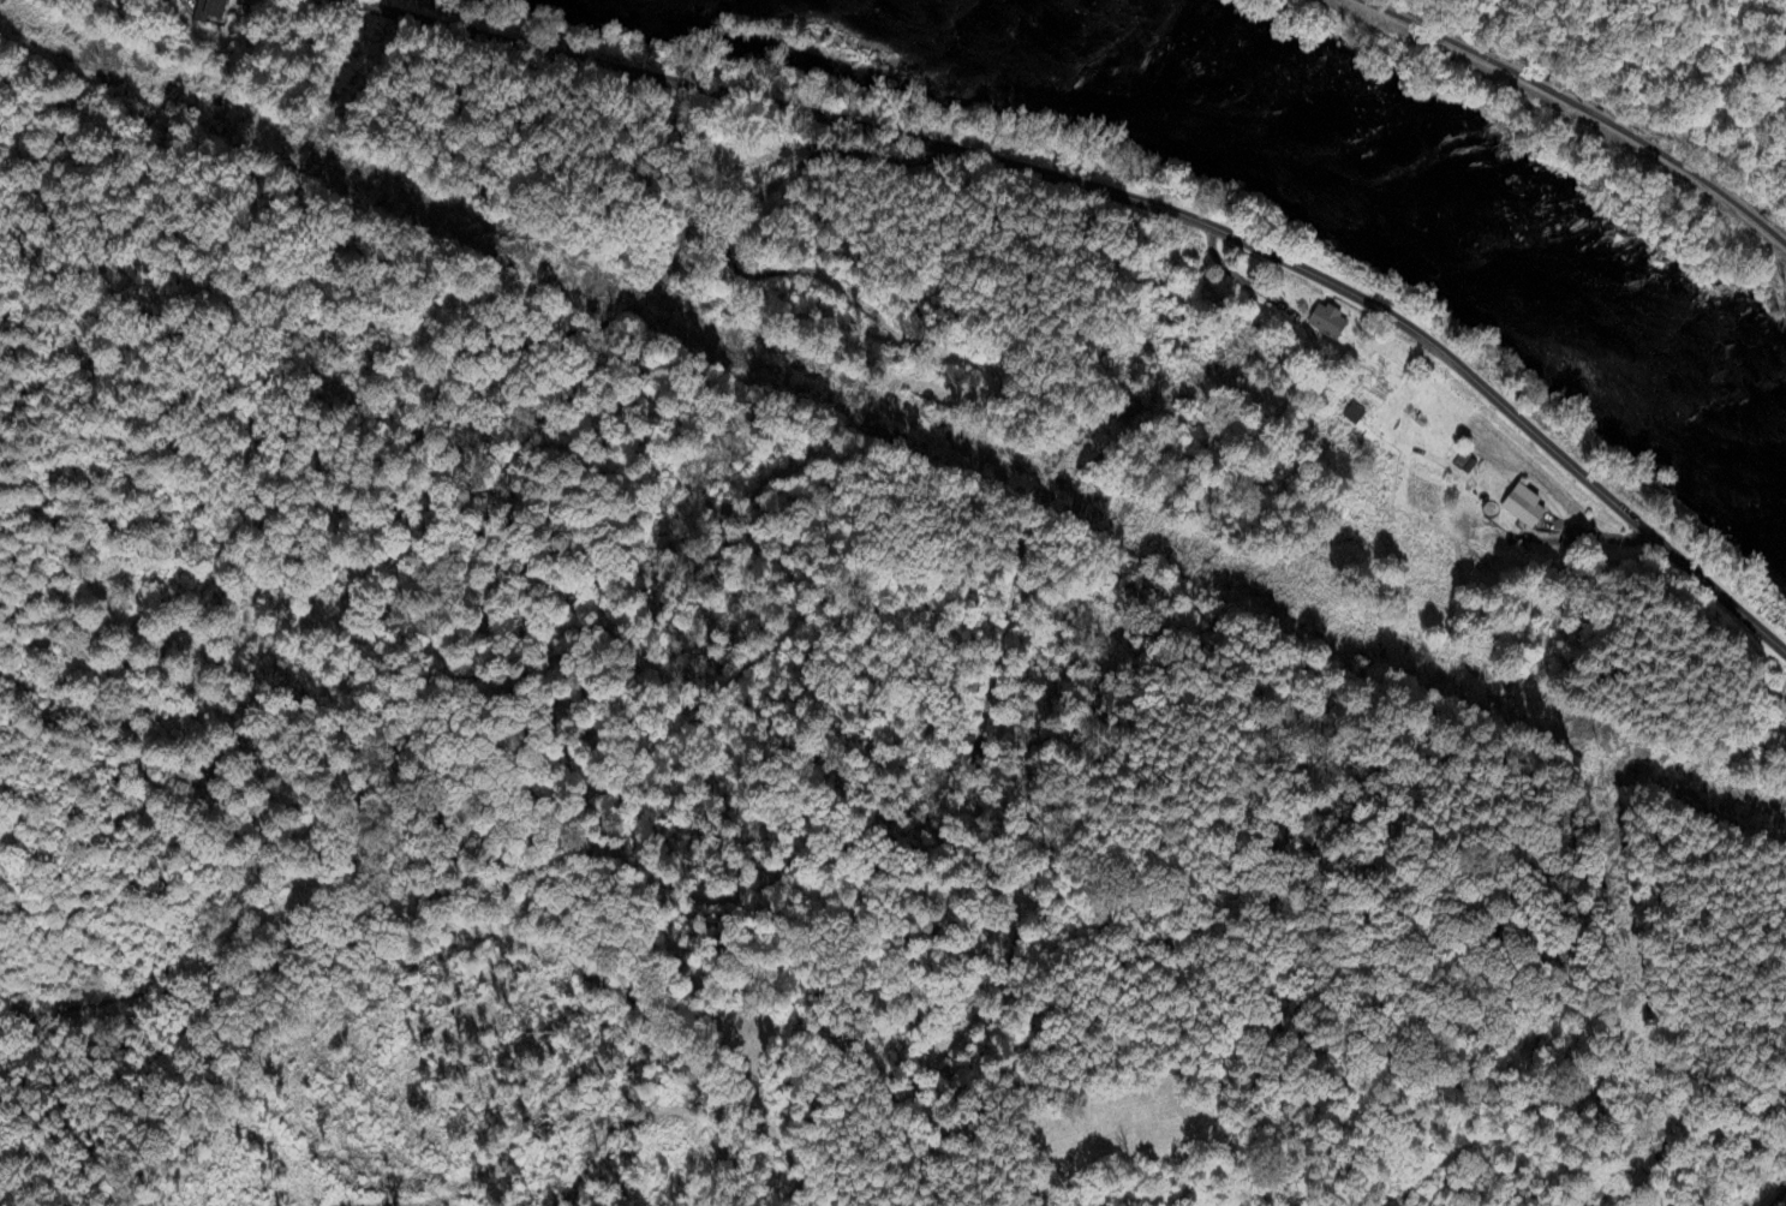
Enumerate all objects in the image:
railway: (1579, 107)
river: (1337, 149)
road: (1131, 199)
building: (1326, 324)
building: (1367, 400)

